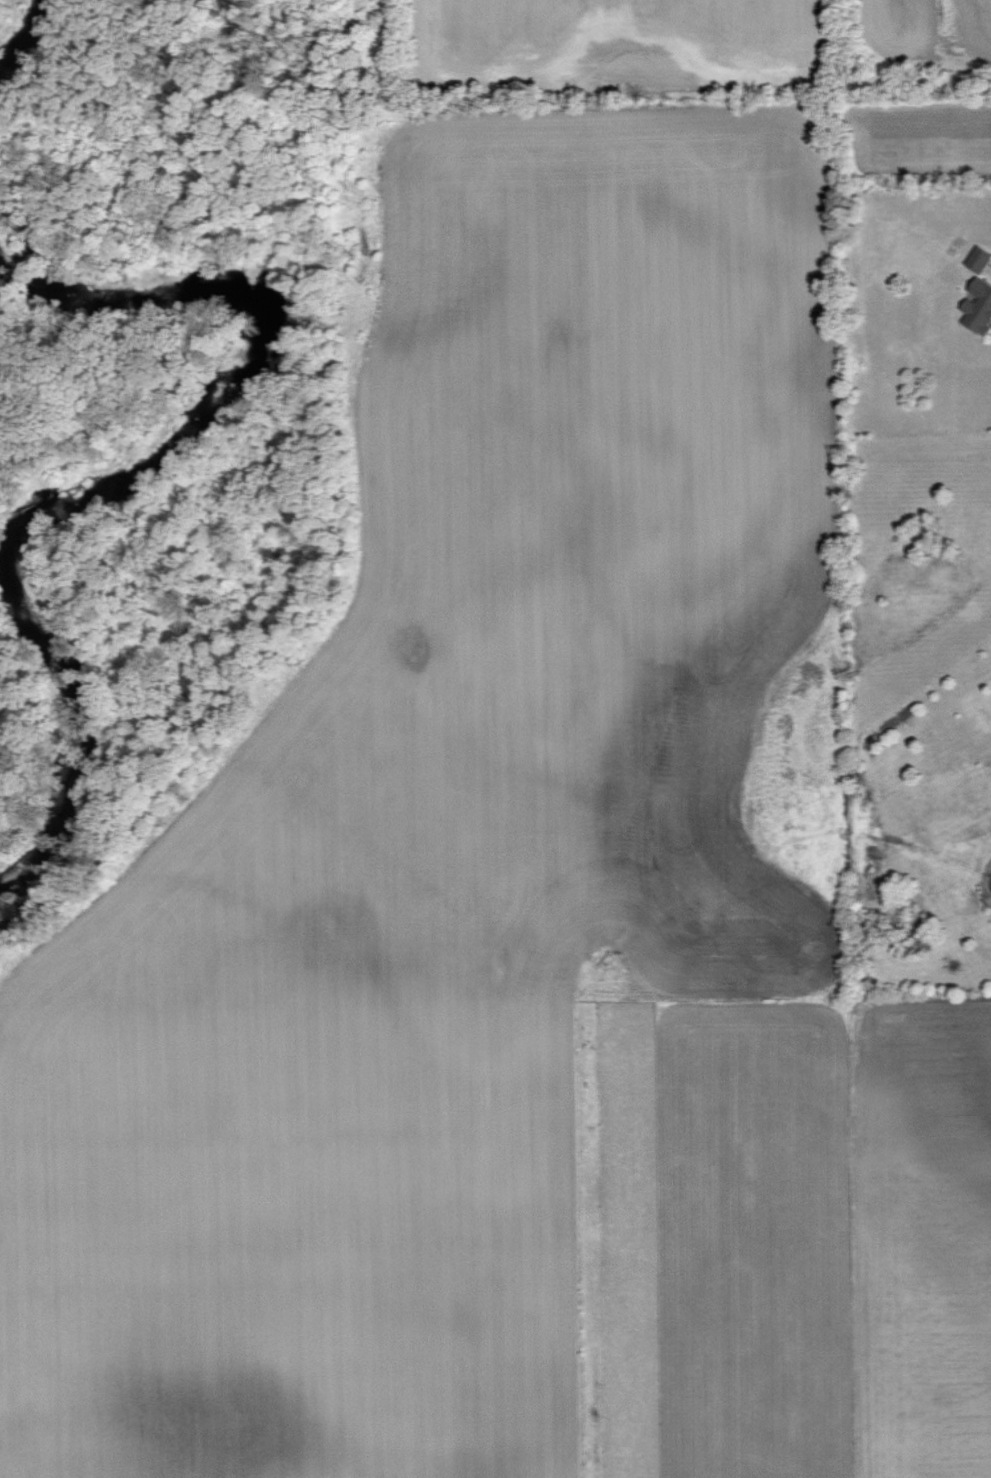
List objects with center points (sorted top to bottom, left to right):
building: (979, 258)
building: (979, 305)

